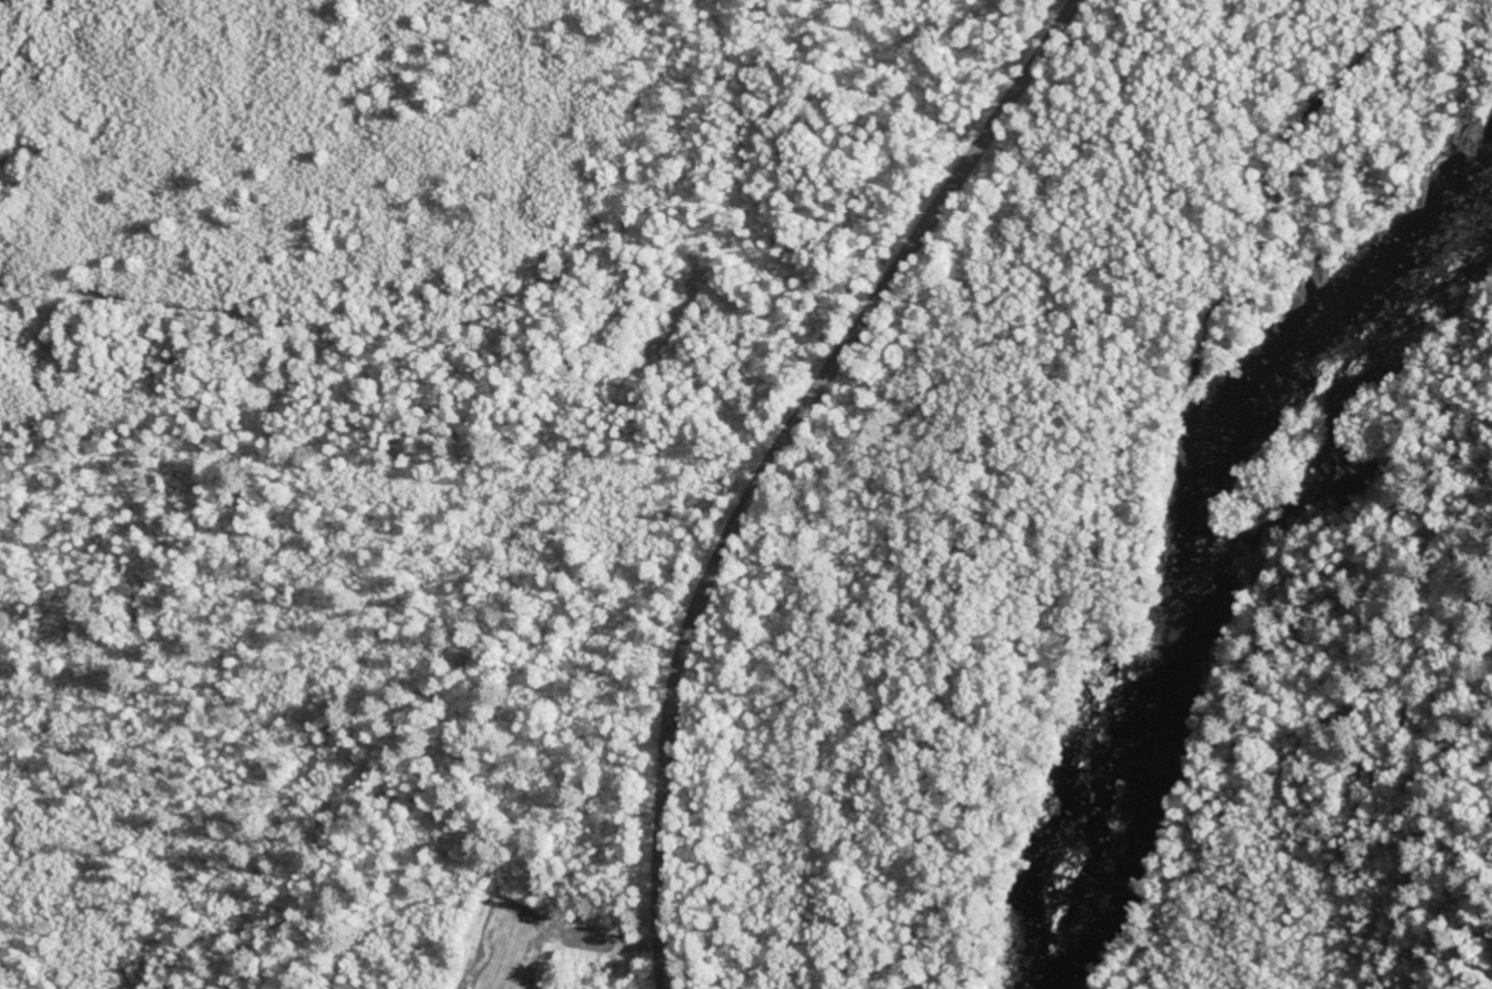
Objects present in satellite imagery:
road: (766, 468)
river: (1225, 563)

